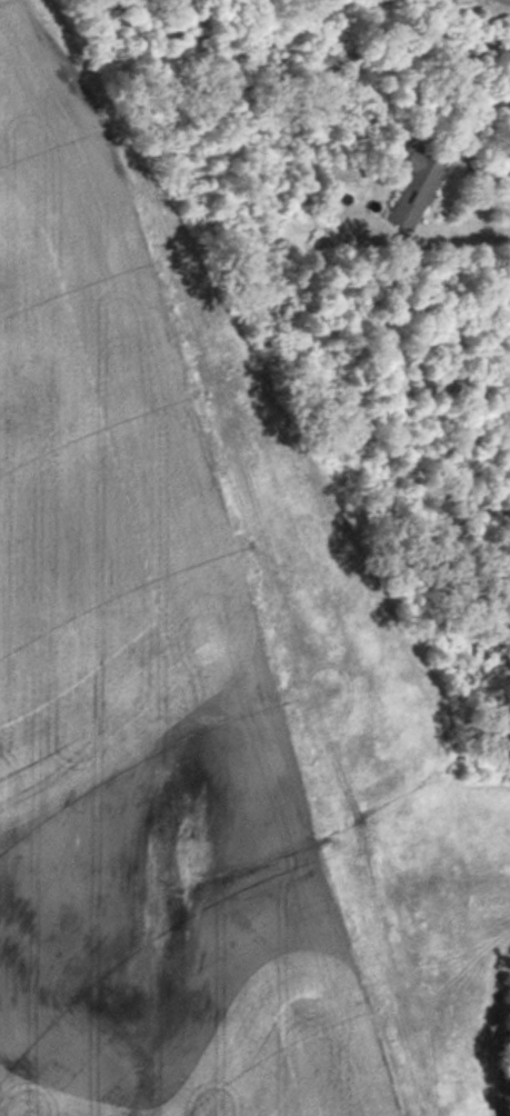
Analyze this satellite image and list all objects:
building: (409, 191)
road: (477, 230)

